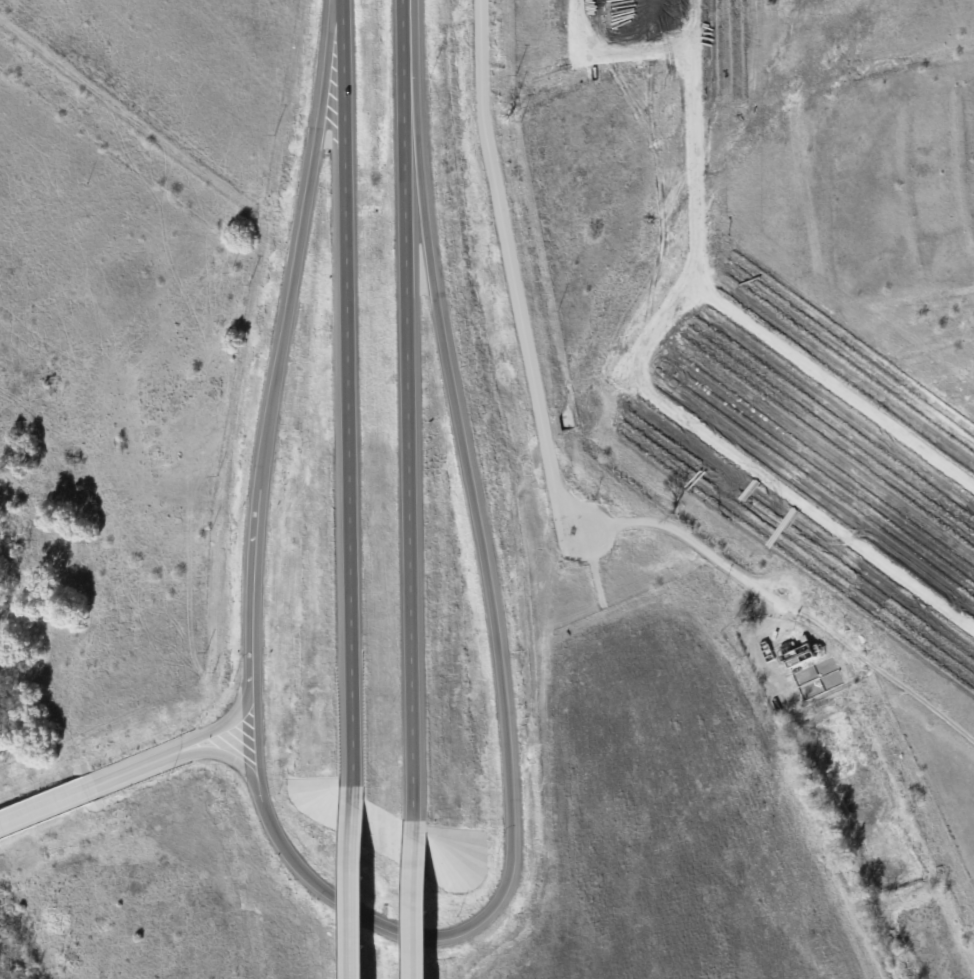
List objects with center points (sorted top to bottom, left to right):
road: (129, 115)
road: (300, 243)
road: (512, 274)
road: (347, 395)
road: (409, 411)
road: (218, 725)
road: (221, 751)
road: (508, 757)
road: (123, 772)
road: (47, 803)
road: (354, 884)
road: (416, 900)

